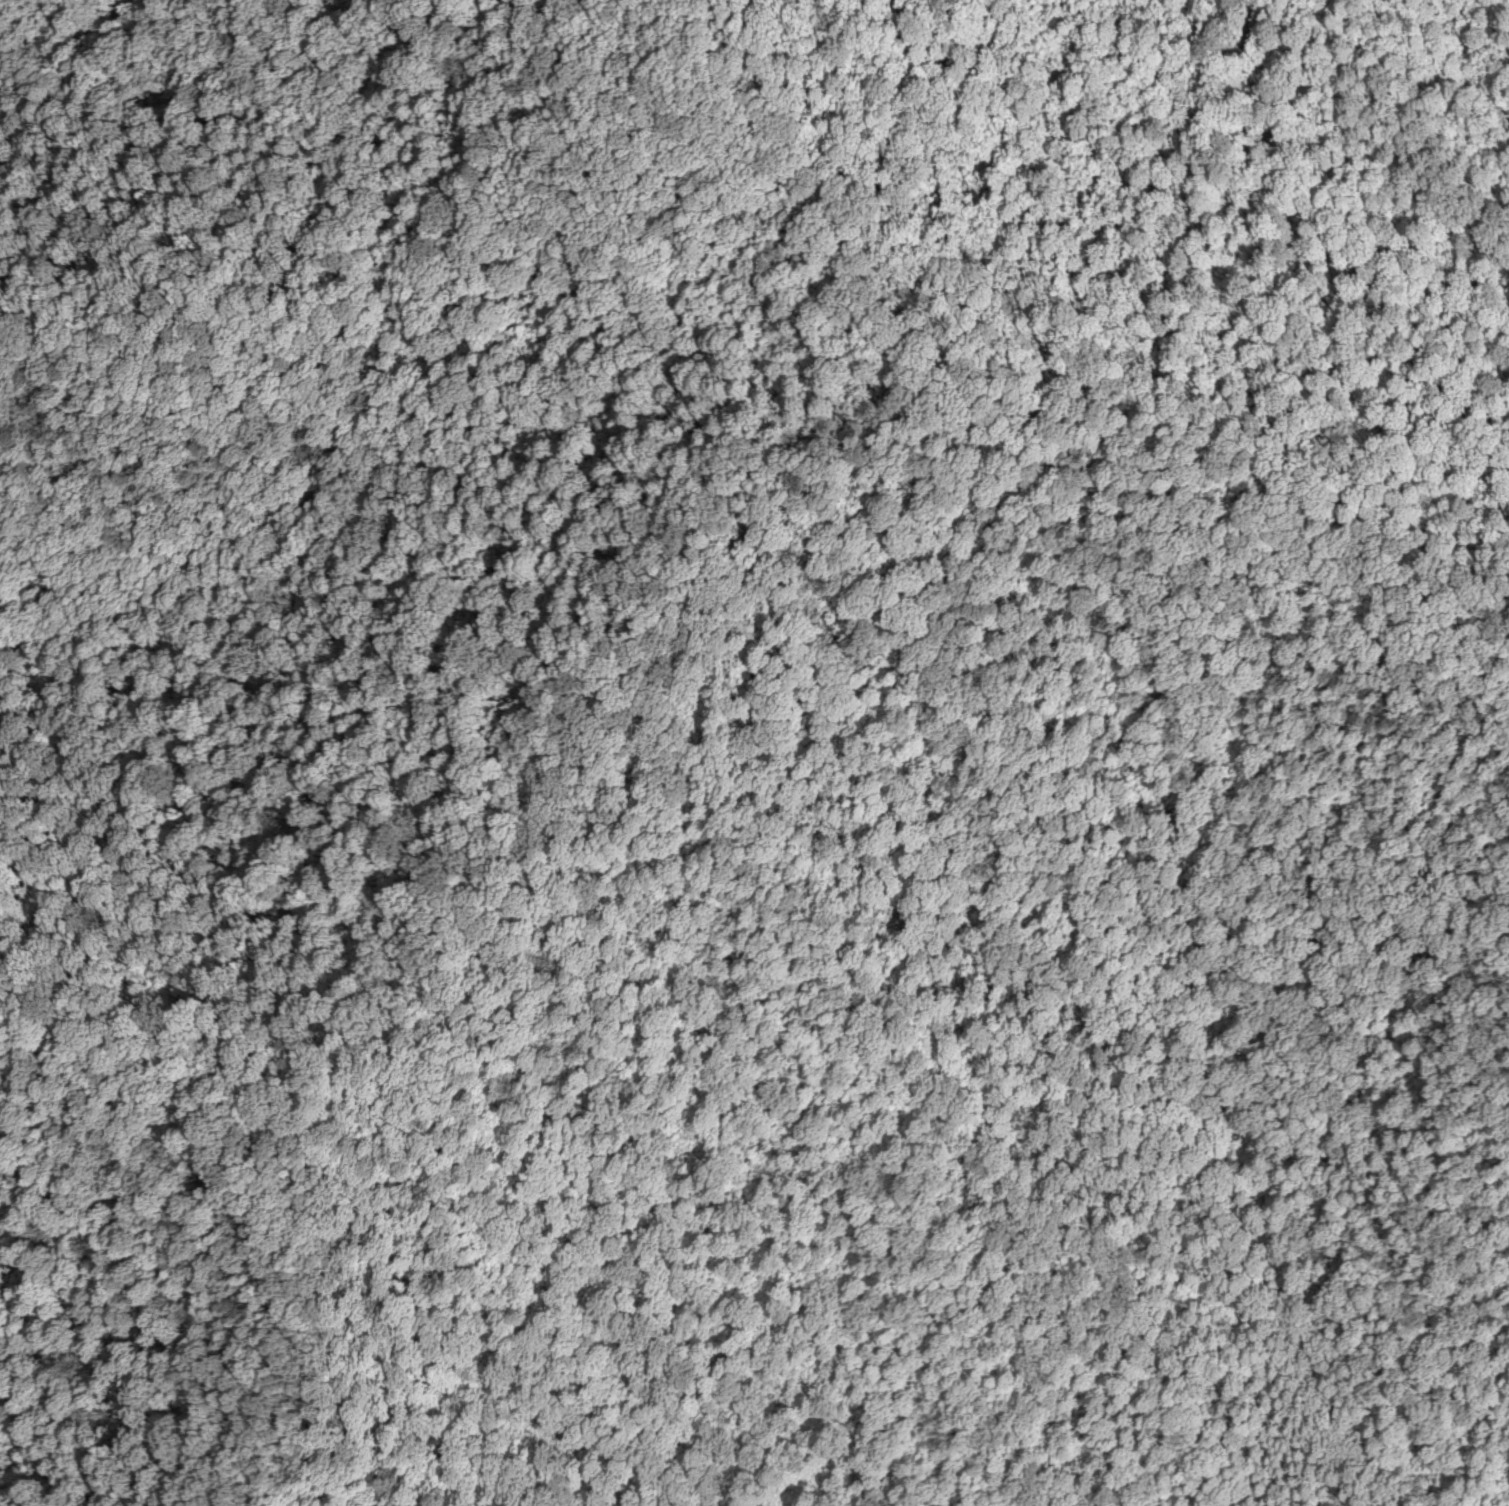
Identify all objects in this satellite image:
road: (1395, 1379)

